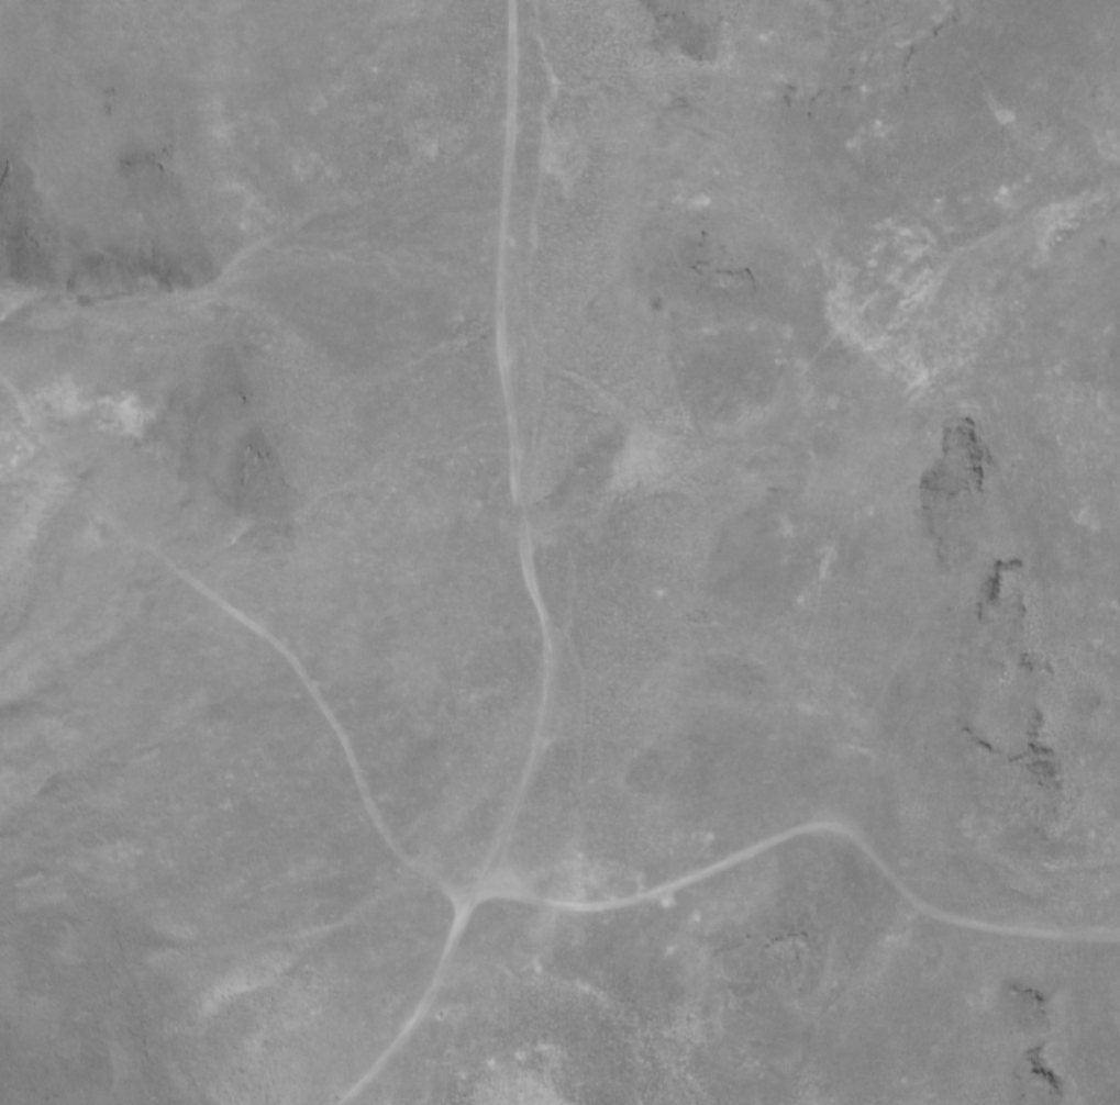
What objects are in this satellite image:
road: (506, 447)
road: (247, 622)
road: (805, 827)
road: (406, 997)

